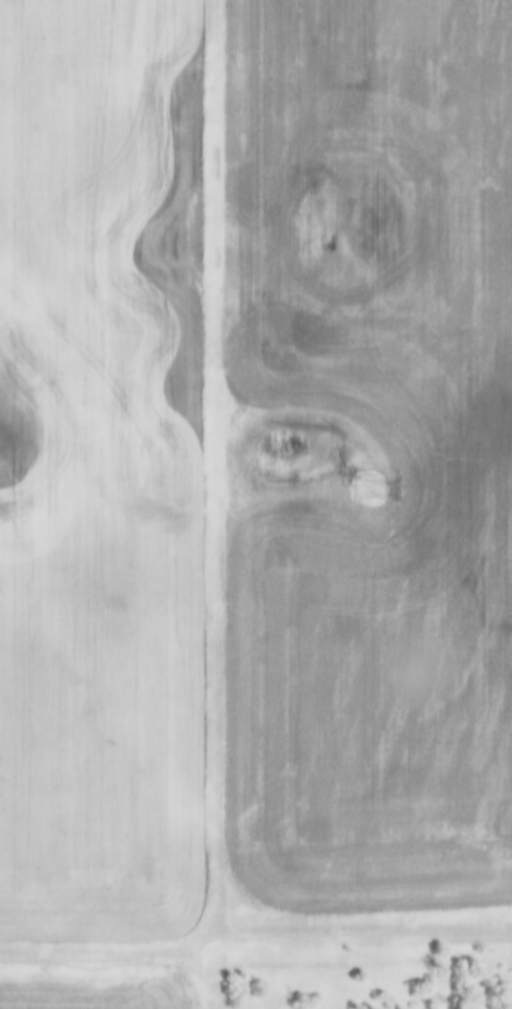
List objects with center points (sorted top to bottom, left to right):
power tower: (371, 484)
road: (391, 938)
road: (135, 950)

